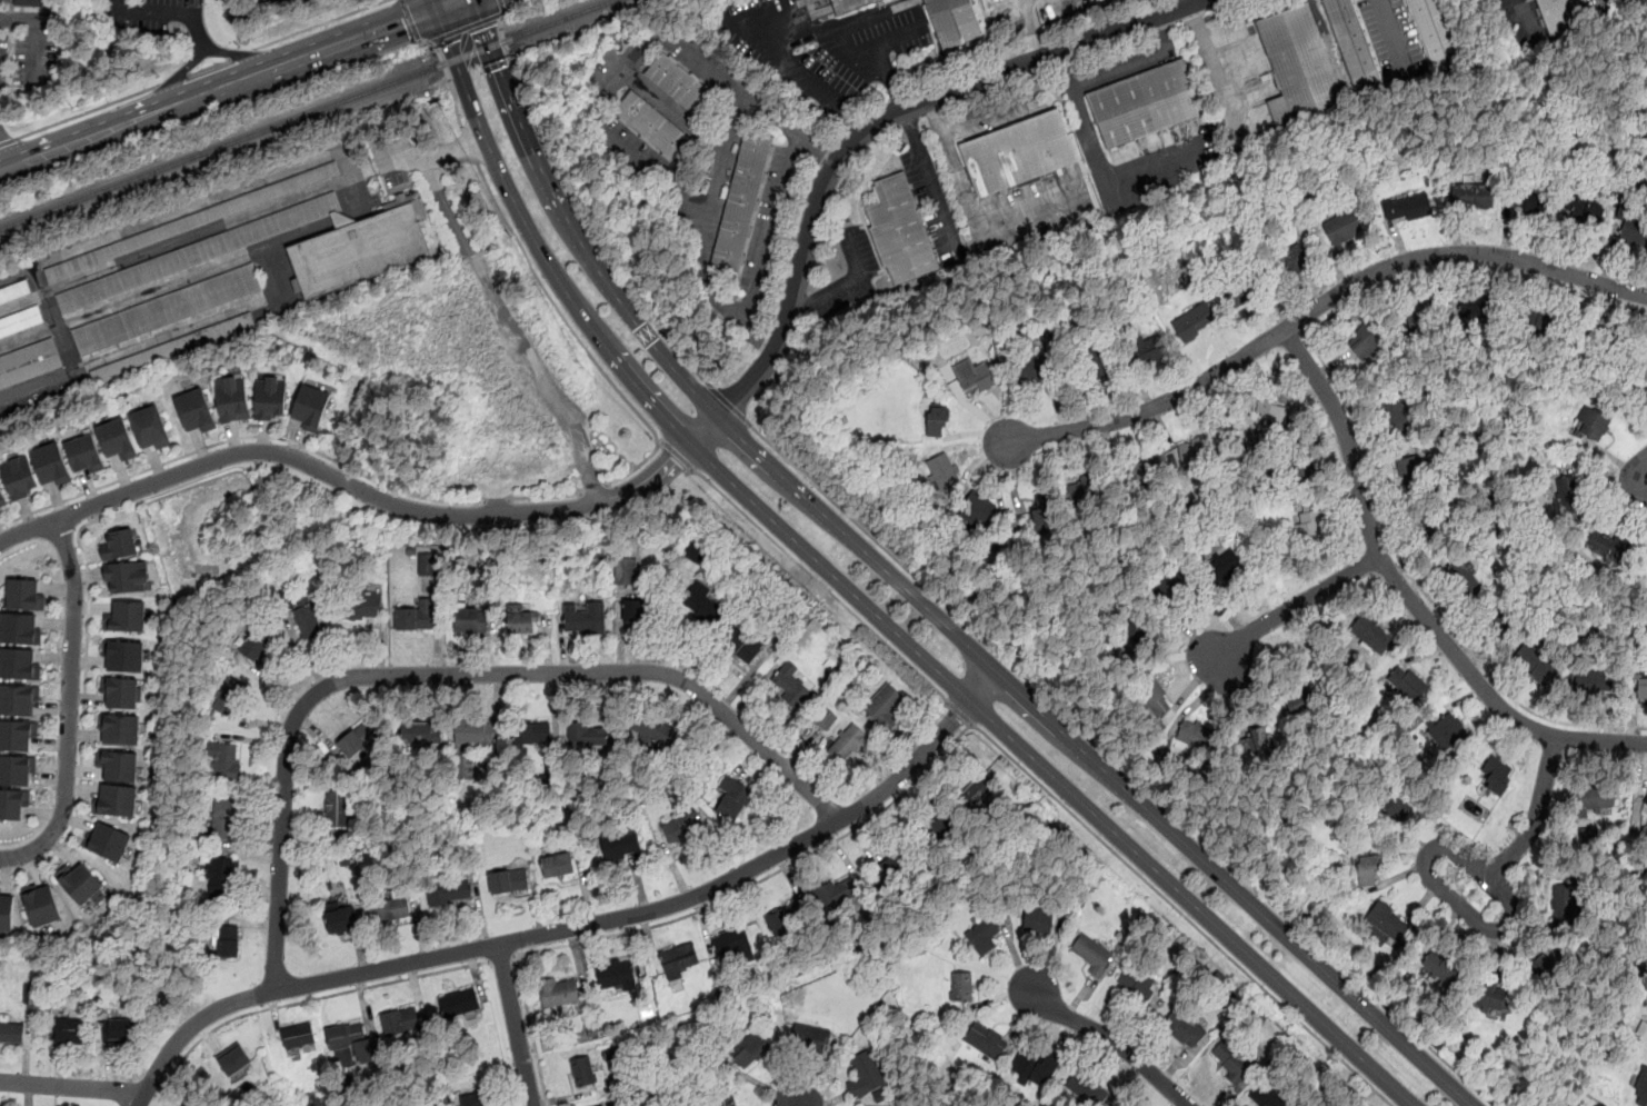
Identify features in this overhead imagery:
road: (1188, 1)
building: (31, 2)
road: (438, 3)
building: (845, 4)
road: (502, 6)
road: (167, 13)
building: (1558, 14)
road: (1525, 17)
road: (411, 19)
traffic signals: (403, 21)
building: (949, 21)
road: (320, 24)
road: (466, 27)
traffic signals: (488, 27)
road: (1029, 29)
building: (1437, 31)
road: (1394, 34)
road: (849, 41)
building: (1354, 47)
road: (239, 53)
road: (242, 53)
road: (1139, 62)
building: (1298, 62)
road: (209, 67)
road: (1065, 70)
road: (180, 77)
road: (450, 77)
road: (173, 79)
road: (230, 86)
building: (681, 86)
road: (812, 89)
road: (603, 102)
building: (1145, 103)
road: (1004, 104)
road: (89, 111)
railway: (307, 116)
building: (655, 129)
road: (861, 132)
road: (9, 141)
road: (468, 145)
road: (6, 156)
road: (417, 156)
building: (1025, 159)
road: (722, 162)
road: (1107, 185)
building: (1469, 196)
building: (740, 198)
building: (1529, 200)
road: (971, 205)
building: (1583, 205)
building: (1409, 207)
road: (579, 209)
park: (1212, 209)
building: (194, 220)
building: (1635, 227)
building: (1344, 228)
road: (772, 230)
building: (906, 232)
building: (358, 250)
building: (199, 252)
building: (1291, 258)
road: (1470, 268)
road: (848, 281)
building: (1242, 289)
building: (14, 290)
road: (1319, 305)
building: (168, 308)
road: (556, 310)
building: (1421, 315)
building: (1479, 316)
building: (21, 320)
building: (1194, 321)
building: (1537, 323)
road: (515, 326)
building: (1366, 341)
building: (1607, 345)
building: (173, 348)
building: (1150, 349)
building: (1644, 360)
building: (29, 362)
building: (1031, 369)
building: (1097, 369)
building: (974, 376)
building: (269, 397)
building: (232, 398)
road: (728, 402)
building: (310, 405)
building: (194, 409)
building: (1276, 412)
building: (1395, 415)
building: (937, 420)
building: (1590, 424)
building: (150, 427)
road: (241, 437)
building: (117, 439)
building: (83, 452)
building: (1196, 452)
road: (678, 456)
building: (50, 462)
building: (1298, 464)
road: (637, 466)
building: (939, 469)
building: (1413, 471)
building: (1144, 472)
building: (18, 476)
road: (1645, 484)
building: (1087, 486)
road: (593, 488)
road: (373, 495)
building: (1566, 495)
road: (546, 496)
building: (2, 498)
road: (495, 499)
road: (89, 502)
building: (976, 510)
building: (1045, 511)
building: (1309, 521)
building: (1436, 522)
road: (27, 530)
building: (121, 544)
building: (1607, 544)
building: (428, 564)
building: (1224, 567)
building: (626, 570)
building: (128, 576)
building: (1463, 577)
road: (822, 585)
road: (1419, 587)
building: (1171, 592)
building: (24, 594)
road: (917, 596)
road: (1409, 597)
building: (703, 604)
road: (865, 604)
building: (362, 606)
road: (1297, 606)
building: (633, 609)
building: (127, 615)
building: (416, 616)
building: (585, 618)
building: (469, 621)
building: (309, 622)
building: (521, 622)
building: (19, 628)
building: (1376, 631)
building: (746, 641)
building: (259, 645)
building: (1124, 652)
building: (123, 655)
building: (1536, 662)
building: (19, 664)
road: (448, 674)
building: (1593, 679)
building: (790, 686)
building: (1410, 686)
building: (1643, 689)
building: (120, 691)
building: (229, 696)
building: (18, 698)
building: (1307, 700)
building: (1154, 701)
building: (885, 706)
road: (69, 707)
road: (958, 711)
road: (83, 713)
building: (825, 719)
building: (120, 728)
building: (658, 733)
building: (1448, 733)
building: (17, 734)
building: (421, 734)
building: (476, 734)
building: (532, 734)
building: (588, 735)
building: (1195, 736)
building: (358, 738)
building: (1254, 740)
building: (846, 744)
building: (224, 763)
road: (1120, 764)
building: (118, 765)
building: (17, 768)
building: (1496, 776)
building: (974, 791)
building: (1595, 798)
building: (733, 799)
building: (117, 800)
building: (13, 803)
building: (339, 808)
building: (1395, 809)
building: (1644, 809)
building: (222, 819)
building: (932, 824)
building: (680, 828)
building: (1588, 833)
building: (108, 840)
building: (621, 846)
building: (558, 866)
building: (902, 869)
building: (1366, 869)
building: (220, 876)
road: (766, 878)
building: (508, 880)
building: (81, 885)
building: (449, 893)
building: (837, 894)
building: (41, 906)
building: (1565, 907)
building: (6, 910)
building: (391, 910)
road: (1184, 914)
road: (1510, 916)
building: (340, 918)
building: (788, 919)
building: (1038, 919)
building: (1388, 923)
road: (580, 926)
building: (982, 935)
building: (222, 940)
building: (731, 943)
building: (1092, 954)
road: (501, 958)
building: (680, 959)
building: (1547, 959)
building: (1441, 967)
building: (616, 978)
building: (1135, 979)
building: (962, 986)
building: (31, 993)
building: (559, 993)
building: (1491, 996)
road: (301, 1002)
building: (460, 1003)
building: (401, 1022)
road: (516, 1024)
building: (1185, 1027)
building: (119, 1029)
building: (69, 1030)
road: (531, 1030)
building: (11, 1032)
building: (1645, 1032)
building: (298, 1036)
building: (811, 1037)
building: (986, 1040)
road: (1115, 1040)
building: (350, 1043)
building: (751, 1048)
building: (1235, 1056)
building: (233, 1059)
building: (1035, 1068)
building: (583, 1072)
building: (866, 1074)
road: (71, 1087)
building: (1084, 1087)
building: (1641, 1088)
building: (881, 1095)
building: (1267, 1096)
building: (475, 1099)
building: (725, 1100)
building: (192, 1103)

